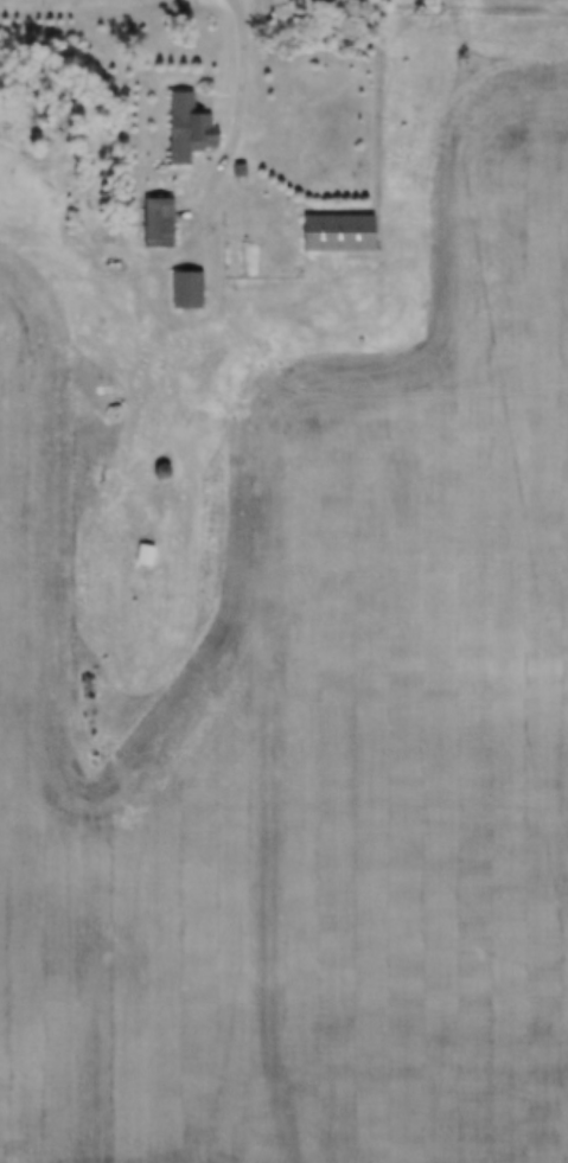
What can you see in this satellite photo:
building: (187, 126)
road: (229, 140)
building: (154, 223)
building: (334, 234)
building: (184, 290)
building: (159, 472)
building: (142, 556)
road: (39, 704)

